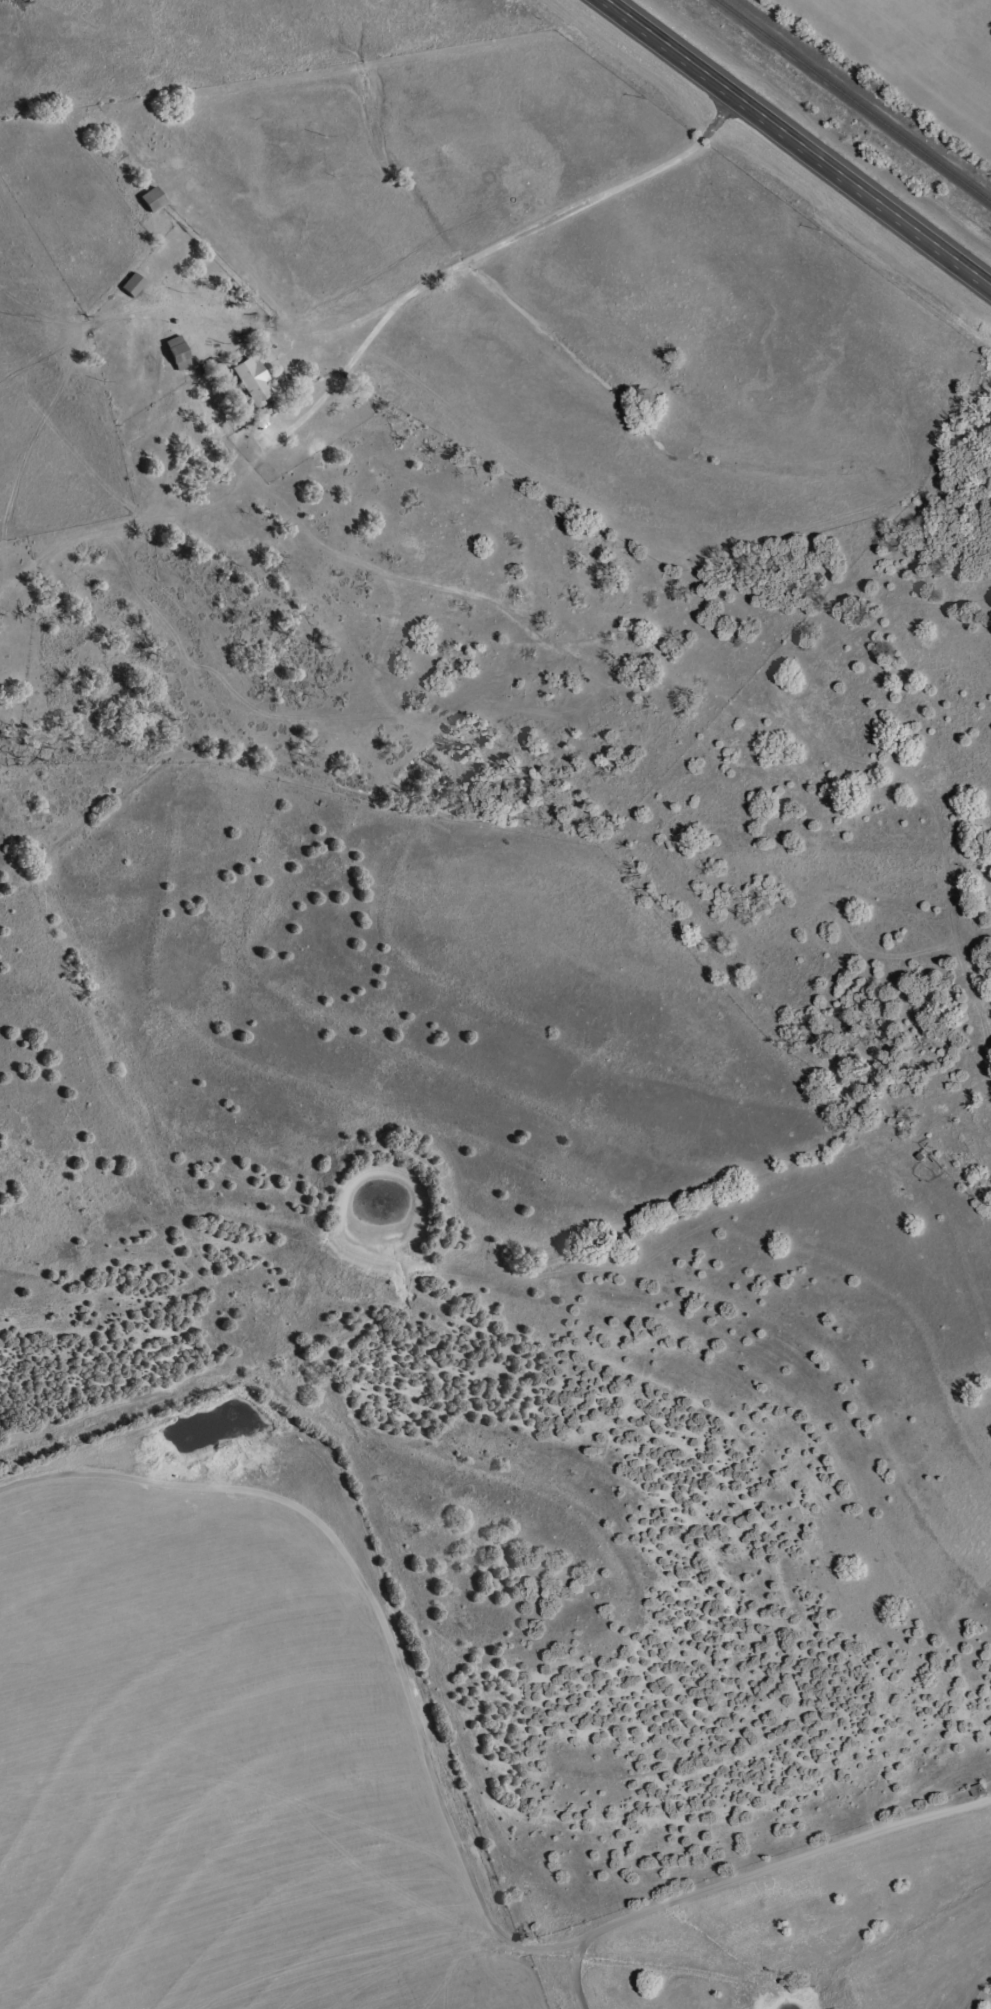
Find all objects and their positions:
railway: (854, 101)
road: (799, 141)
building: (150, 198)
road: (488, 250)
building: (131, 284)
building: (175, 352)
building: (251, 381)
road: (138, 519)

